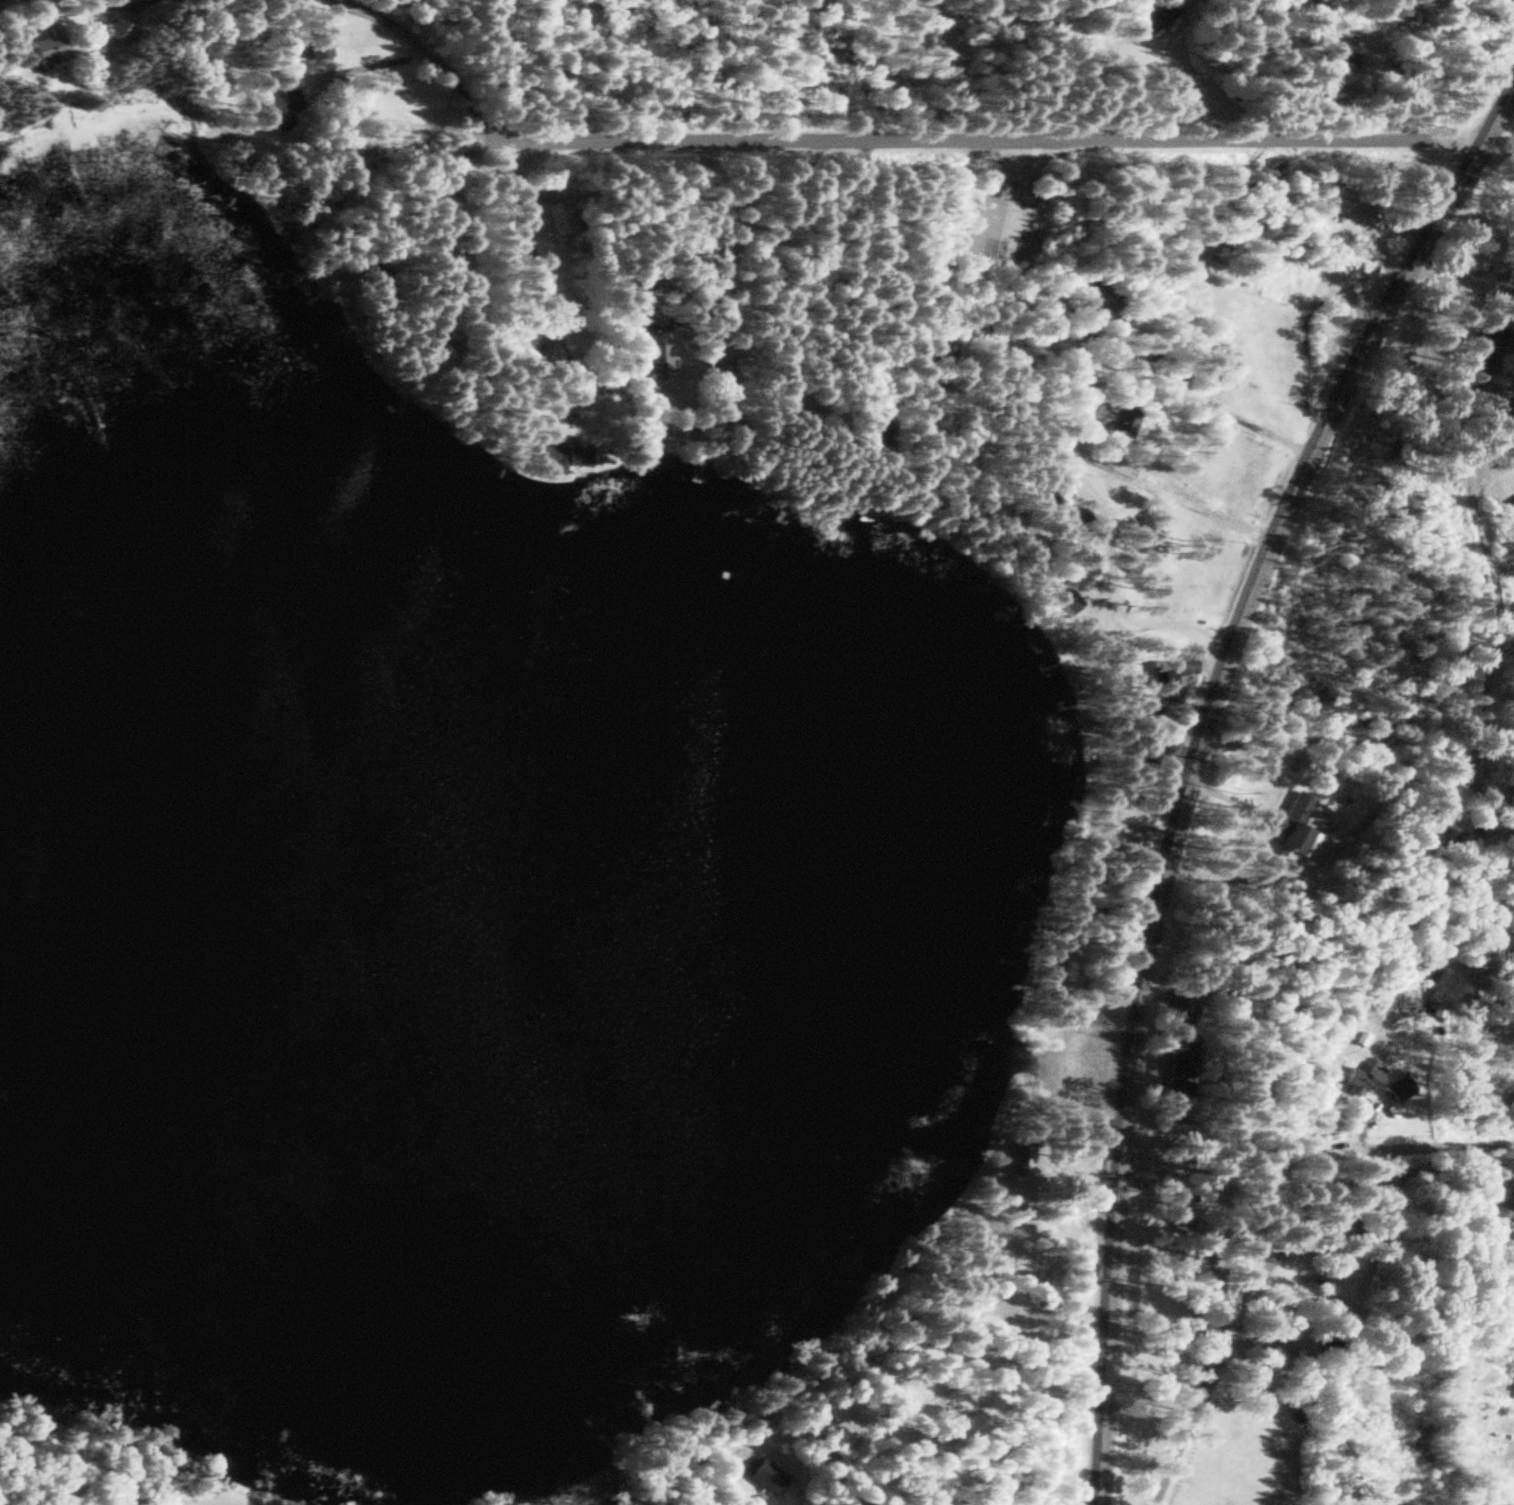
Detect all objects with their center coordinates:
road: (108, 9)
building: (1157, 17)
building: (117, 31)
building: (317, 47)
building: (45, 49)
road: (429, 56)
building: (1337, 61)
building: (280, 107)
road: (997, 139)
road: (515, 191)
building: (559, 217)
road: (1393, 221)
building: (992, 229)
road: (705, 241)
building: (1212, 252)
building: (459, 301)
building: (1093, 303)
building: (1485, 343)
building: (425, 356)
building: (652, 360)
road: (1170, 382)
building: (1107, 417)
building: (558, 454)
road: (1170, 495)
building: (1044, 506)
building: (1065, 603)
road: (1154, 624)
building: (1168, 681)
road: (1191, 761)
road: (1227, 798)
building: (1293, 827)
road: (1304, 866)
building: (1434, 1007)
road: (1073, 1062)
building: (1179, 1064)
building: (1359, 1078)
building: (1396, 1088)
road: (1315, 1147)
building: (1020, 1158)
park: (1146, 1277)
building: (1513, 1387)
building: (763, 1474)

